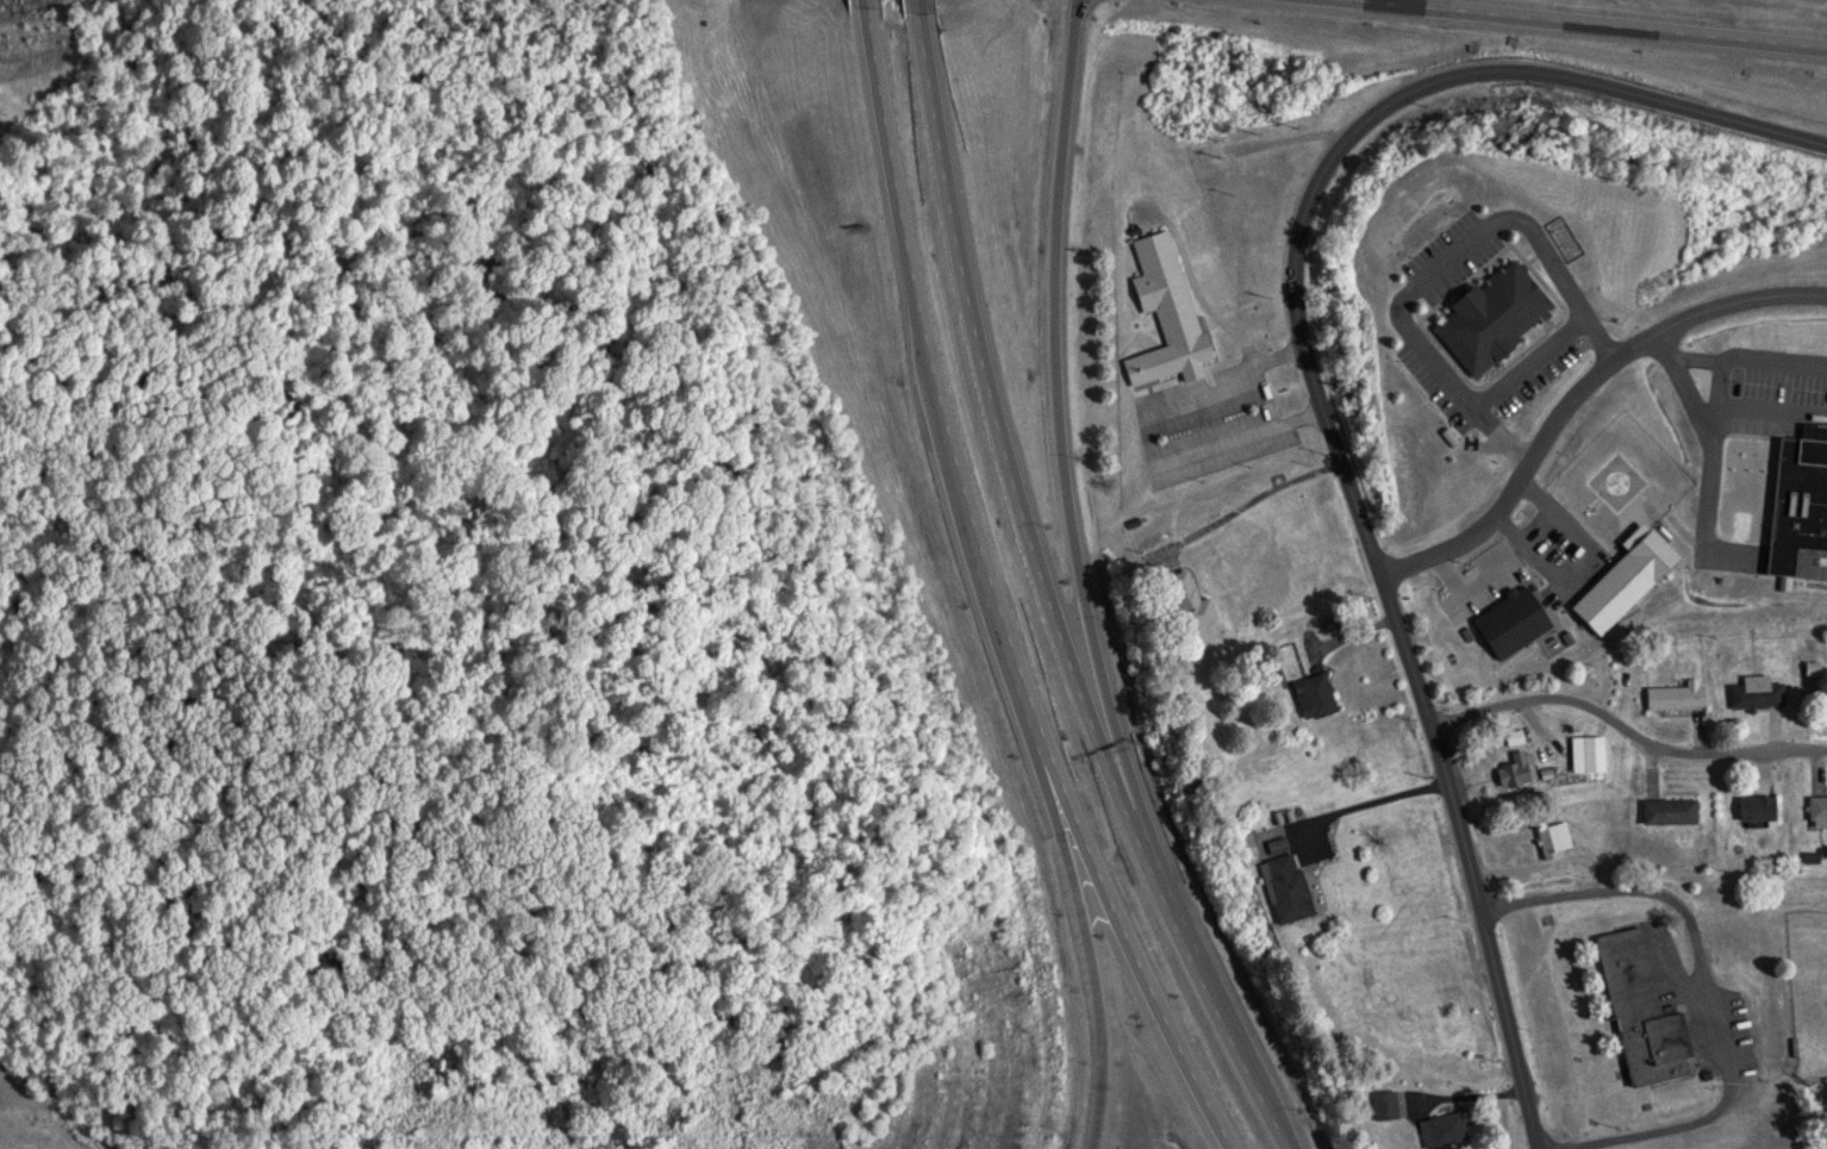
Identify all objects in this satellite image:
road: (927, 4)
road: (1577, 26)
building: (1164, 314)
building: (1490, 317)
road: (1748, 356)
road: (1717, 383)
road: (1576, 387)
road: (1316, 395)
road: (940, 405)
road: (1060, 407)
building: (1630, 408)
road: (1005, 414)
road: (1763, 417)
road: (1706, 456)
helipad: (1617, 480)
road: (1778, 555)
road: (1812, 560)
building: (1187, 599)
building: (1314, 694)
building: (1756, 694)
building: (1673, 695)
road: (1625, 729)
building: (1513, 735)
building: (1591, 751)
building: (1515, 767)
building: (1754, 806)
building: (1666, 808)
building: (1816, 810)
building: (1552, 837)
building: (1240, 843)
building: (1282, 886)
road: (1100, 972)
road: (1145, 974)
road: (1212, 980)
road: (1706, 982)
park: (1806, 989)
building: (1639, 1012)
building: (1382, 1104)
building: (1441, 1128)

